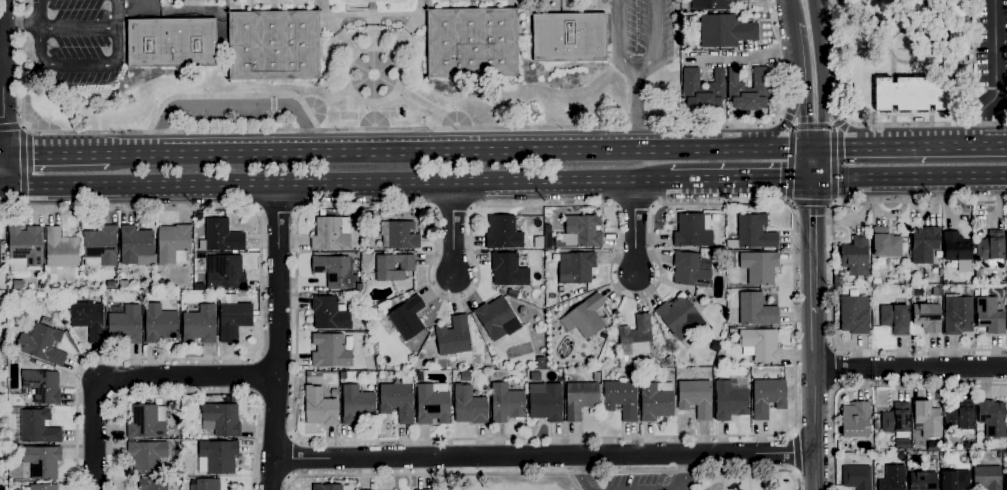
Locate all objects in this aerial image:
building: (200, 0)
building: (862, 1)
road: (795, 3)
building: (710, 5)
building: (906, 8)
road: (132, 11)
road: (857, 14)
road: (34, 26)
building: (956, 27)
road: (877, 29)
building: (725, 31)
road: (112, 32)
parking lot: (641, 36)
building: (569, 37)
parking lot: (72, 41)
road: (39, 43)
building: (171, 43)
building: (472, 43)
building: (274, 45)
road: (1, 54)
road: (972, 62)
road: (906, 63)
road: (820, 74)
road: (956, 75)
road: (995, 76)
road: (803, 77)
road: (636, 86)
building: (703, 90)
building: (748, 90)
road: (3, 94)
building: (911, 94)
road: (230, 104)
parking lot: (235, 116)
road: (788, 117)
road: (637, 118)
road: (836, 118)
road: (838, 121)
road: (783, 123)
road: (865, 125)
road: (10, 127)
road: (812, 127)
road: (395, 129)
road: (909, 146)
road: (454, 151)
road: (3, 153)
road: (51, 154)
road: (789, 165)
road: (813, 165)
road: (833, 165)
road: (910, 181)
road: (739, 183)
road: (337, 186)
road: (4, 188)
road: (811, 204)
road: (276, 212)
building: (583, 231)
road: (637, 231)
building: (693, 231)
building: (754, 232)
road: (452, 233)
building: (502, 233)
building: (331, 234)
building: (401, 235)
building: (222, 236)
building: (547, 242)
building: (173, 244)
building: (885, 244)
building: (924, 245)
building: (1006, 245)
building: (100, 247)
building: (136, 247)
road: (813, 247)
building: (956, 247)
building: (24, 249)
building: (61, 249)
building: (991, 249)
building: (855, 256)
road: (791, 260)
building: (1006, 266)
building: (393, 267)
building: (759, 267)
building: (575, 268)
building: (508, 270)
building: (691, 270)
building: (334, 271)
building: (2, 272)
building: (224, 272)
road: (832, 274)
building: (47, 279)
building: (837, 281)
building: (3, 283)
building: (110, 284)
building: (151, 284)
building: (123, 285)
building: (160, 285)
building: (16, 287)
building: (30, 287)
building: (40, 287)
building: (358, 288)
building: (837, 289)
building: (936, 292)
building: (343, 295)
building: (85, 297)
road: (260, 308)
building: (755, 310)
building: (522, 311)
building: (255, 313)
building: (329, 314)
building: (854, 315)
building: (957, 316)
building: (989, 316)
building: (585, 317)
building: (895, 317)
building: (927, 317)
building: (232, 318)
building: (407, 318)
building: (679, 318)
building: (496, 319)
building: (88, 320)
building: (46, 321)
building: (1006, 322)
building: (159, 323)
building: (125, 325)
building: (199, 325)
building: (733, 330)
building: (453, 337)
building: (636, 337)
road: (276, 338)
building: (418, 339)
building: (41, 343)
building: (760, 345)
building: (413, 347)
building: (330, 351)
building: (669, 361)
building: (540, 363)
road: (834, 368)
road: (910, 368)
building: (418, 374)
building: (381, 375)
road: (132, 376)
building: (342, 376)
building: (556, 376)
road: (255, 377)
building: (596, 377)
road: (870, 385)
building: (42, 386)
road: (186, 393)
building: (767, 397)
building: (621, 398)
building: (695, 398)
building: (580, 399)
building: (397, 401)
building: (656, 401)
building: (729, 401)
road: (814, 401)
building: (432, 404)
building: (505, 404)
building: (546, 404)
building: (357, 406)
building: (468, 406)
building: (319, 408)
building: (1, 413)
building: (960, 417)
building: (992, 418)
building: (927, 419)
building: (221, 420)
building: (856, 420)
building: (896, 421)
building: (146, 422)
building: (38, 427)
building: (902, 445)
building: (969, 446)
building: (979, 448)
road: (792, 453)
road: (291, 456)
building: (146, 457)
building: (217, 457)
road: (544, 457)
building: (40, 462)
building: (187, 467)
road: (578, 473)
road: (545, 474)
road: (684, 474)
building: (856, 477)
building: (892, 478)
building: (986, 478)
building: (955, 480)
road: (694, 481)
building: (922, 481)
building: (1006, 481)
road: (576, 482)
building: (152, 484)
building: (207, 485)
building: (41, 487)
building: (326, 487)

